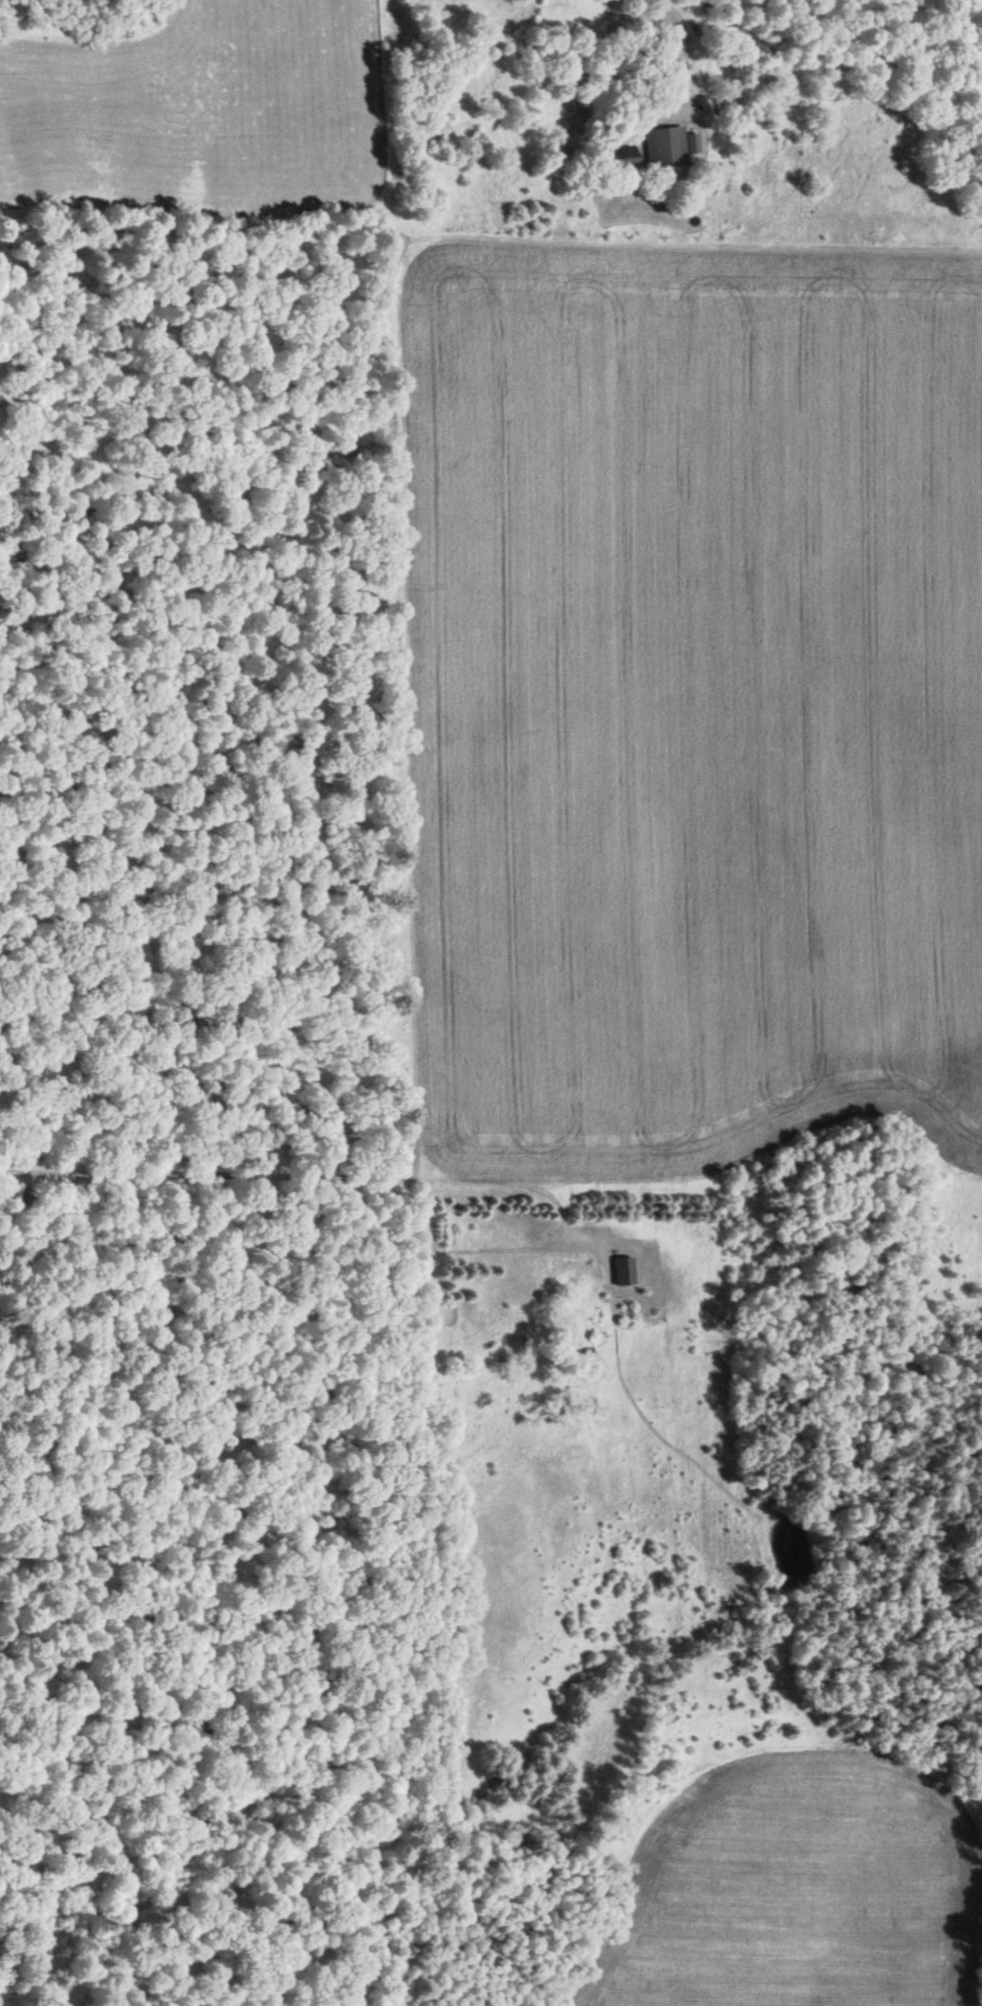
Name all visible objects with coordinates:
road: (690, 45)
building: (670, 148)
building: (626, 158)
road: (195, 1181)
building: (626, 1271)

